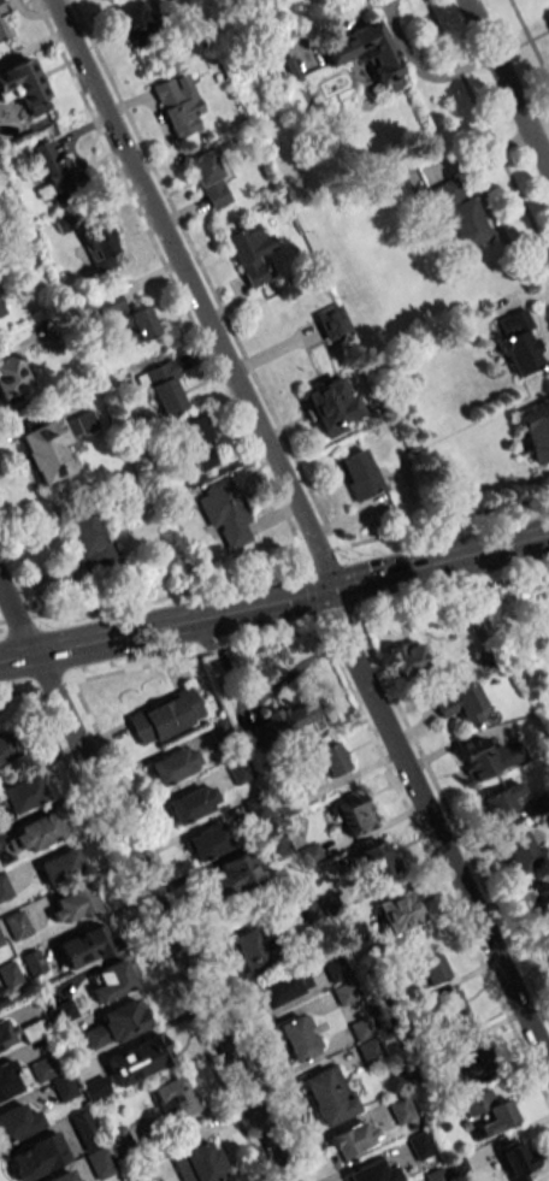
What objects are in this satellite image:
building: (132, 20)
building: (2, 30)
building: (382, 60)
building: (24, 85)
road: (507, 85)
building: (178, 105)
road: (543, 144)
building: (53, 164)
building: (208, 179)
road: (130, 184)
building: (459, 213)
building: (99, 247)
building: (249, 253)
building: (110, 303)
building: (1, 309)
building: (330, 323)
building: (138, 324)
building: (519, 343)
building: (11, 374)
building: (164, 388)
building: (330, 403)
building: (536, 431)
building: (196, 443)
building: (53, 445)
building: (360, 474)
road: (268, 478)
building: (226, 515)
building: (88, 539)
road: (435, 559)
traffic signals: (320, 587)
road: (16, 615)
road: (176, 618)
road: (276, 638)
road: (16, 651)
building: (405, 659)
building: (462, 704)
building: (165, 716)
building: (283, 720)
road: (392, 738)
building: (6, 746)
building: (477, 758)
building: (329, 760)
building: (172, 764)
building: (238, 770)
building: (22, 793)
building: (501, 799)
building: (191, 803)
building: (354, 814)
building: (35, 833)
building: (206, 843)
building: (520, 852)
building: (376, 860)
building: (60, 867)
building: (232, 875)
building: (4, 887)
building: (541, 902)
building: (73, 904)
building: (399, 911)
road: (159, 915)
building: (16, 925)
road: (237, 929)
building: (85, 946)
building: (249, 950)
building: (33, 962)
building: (432, 969)
road: (507, 976)
building: (110, 981)
building: (281, 987)
building: (449, 1009)
building: (113, 1024)
building: (31, 1031)
building: (6, 1034)
building: (299, 1037)
building: (370, 1050)
building: (136, 1059)
building: (474, 1061)
building: (41, 1069)
building: (7, 1080)
building: (64, 1090)
building: (95, 1090)
building: (327, 1094)
building: (173, 1098)
building: (400, 1109)
building: (490, 1111)
building: (18, 1122)
building: (118, 1139)
building: (352, 1140)
building: (90, 1145)
building: (419, 1146)
building: (35, 1156)
building: (518, 1161)
building: (199, 1163)
building: (457, 1168)
building: (372, 1171)
building: (436, 1175)
building: (64, 1176)
building: (85, 1180)
building: (231, 1180)

